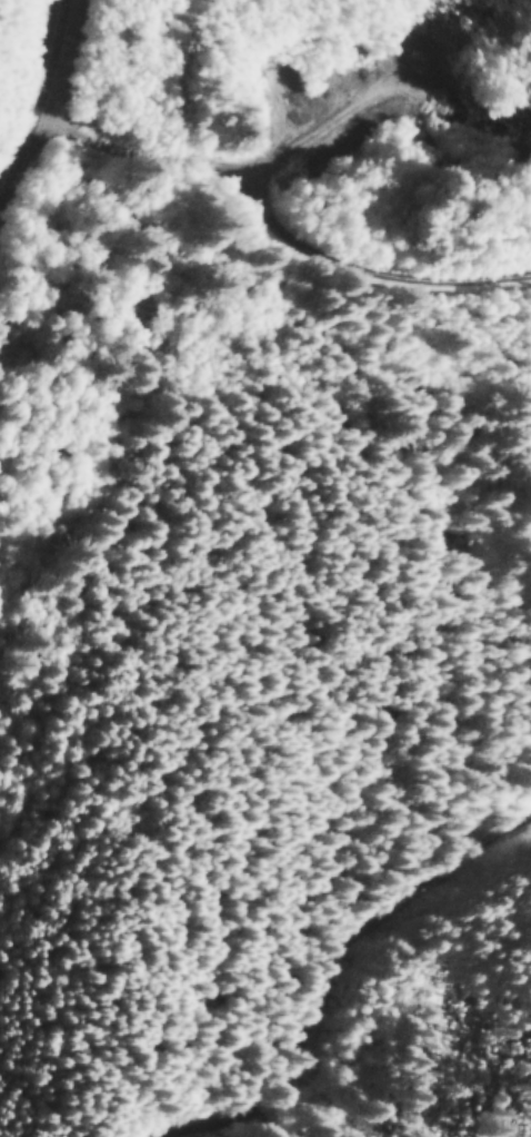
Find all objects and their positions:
road: (34, 108)
road: (273, 219)
road: (350, 968)

